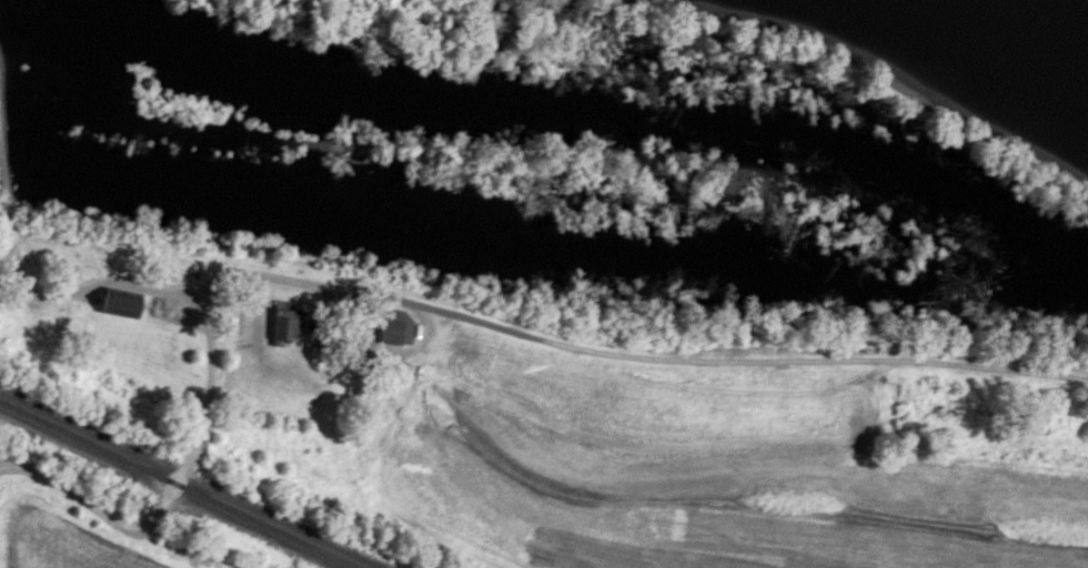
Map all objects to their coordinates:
road: (299, 283)
railway: (178, 484)
road: (105, 514)

